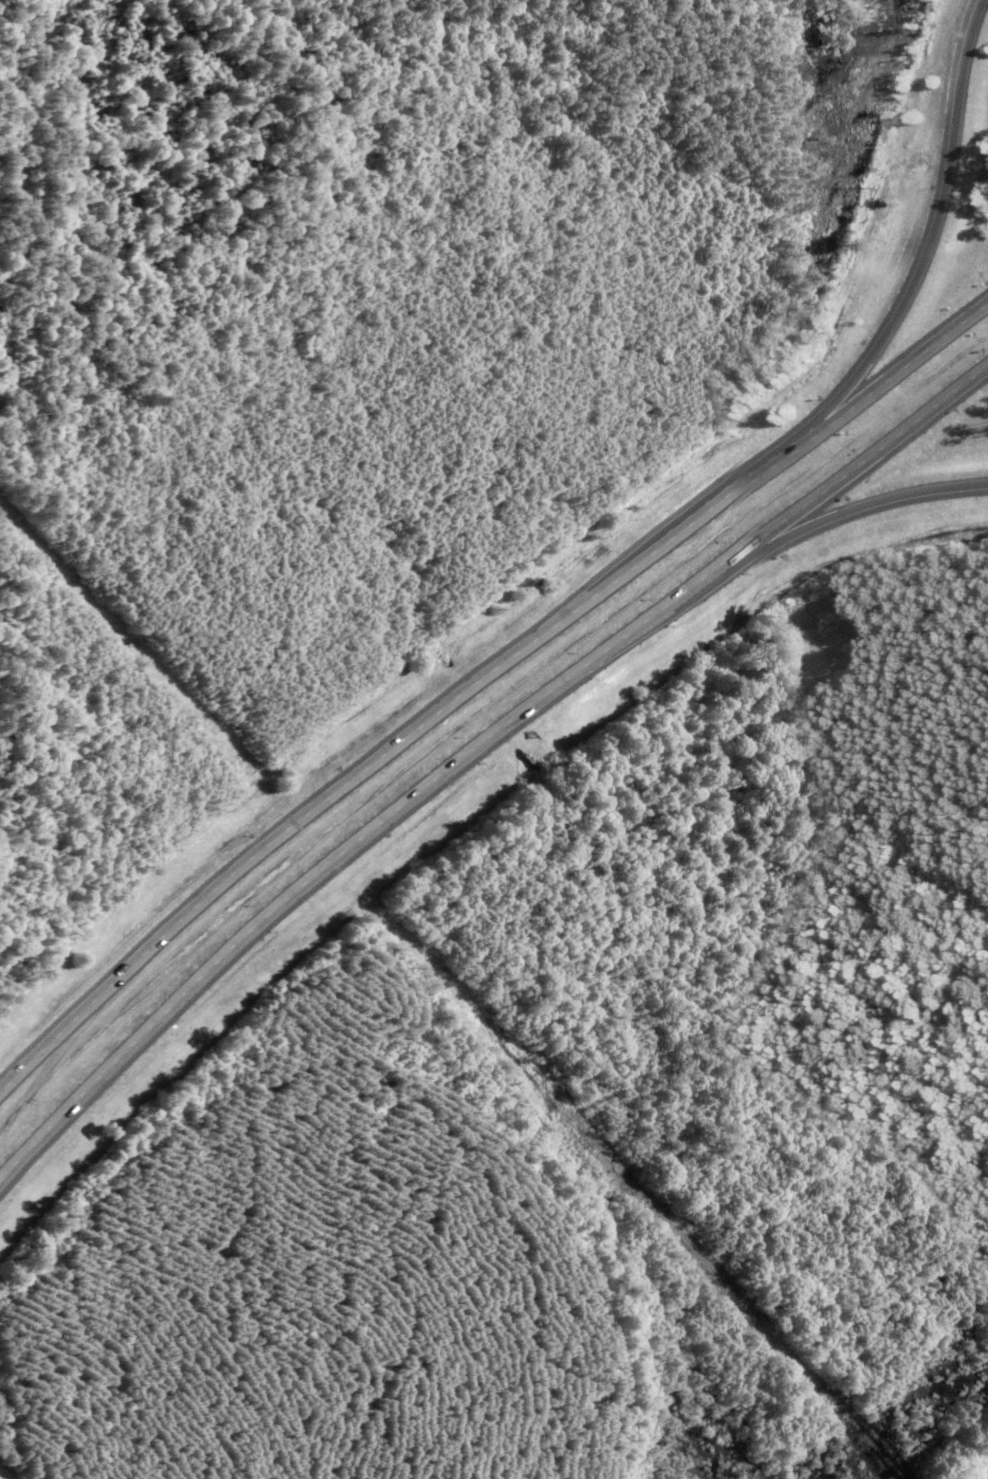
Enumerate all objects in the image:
road: (922, 235)
road: (863, 455)
road: (859, 504)
road: (482, 680)
road: (505, 728)
road: (135, 1043)

